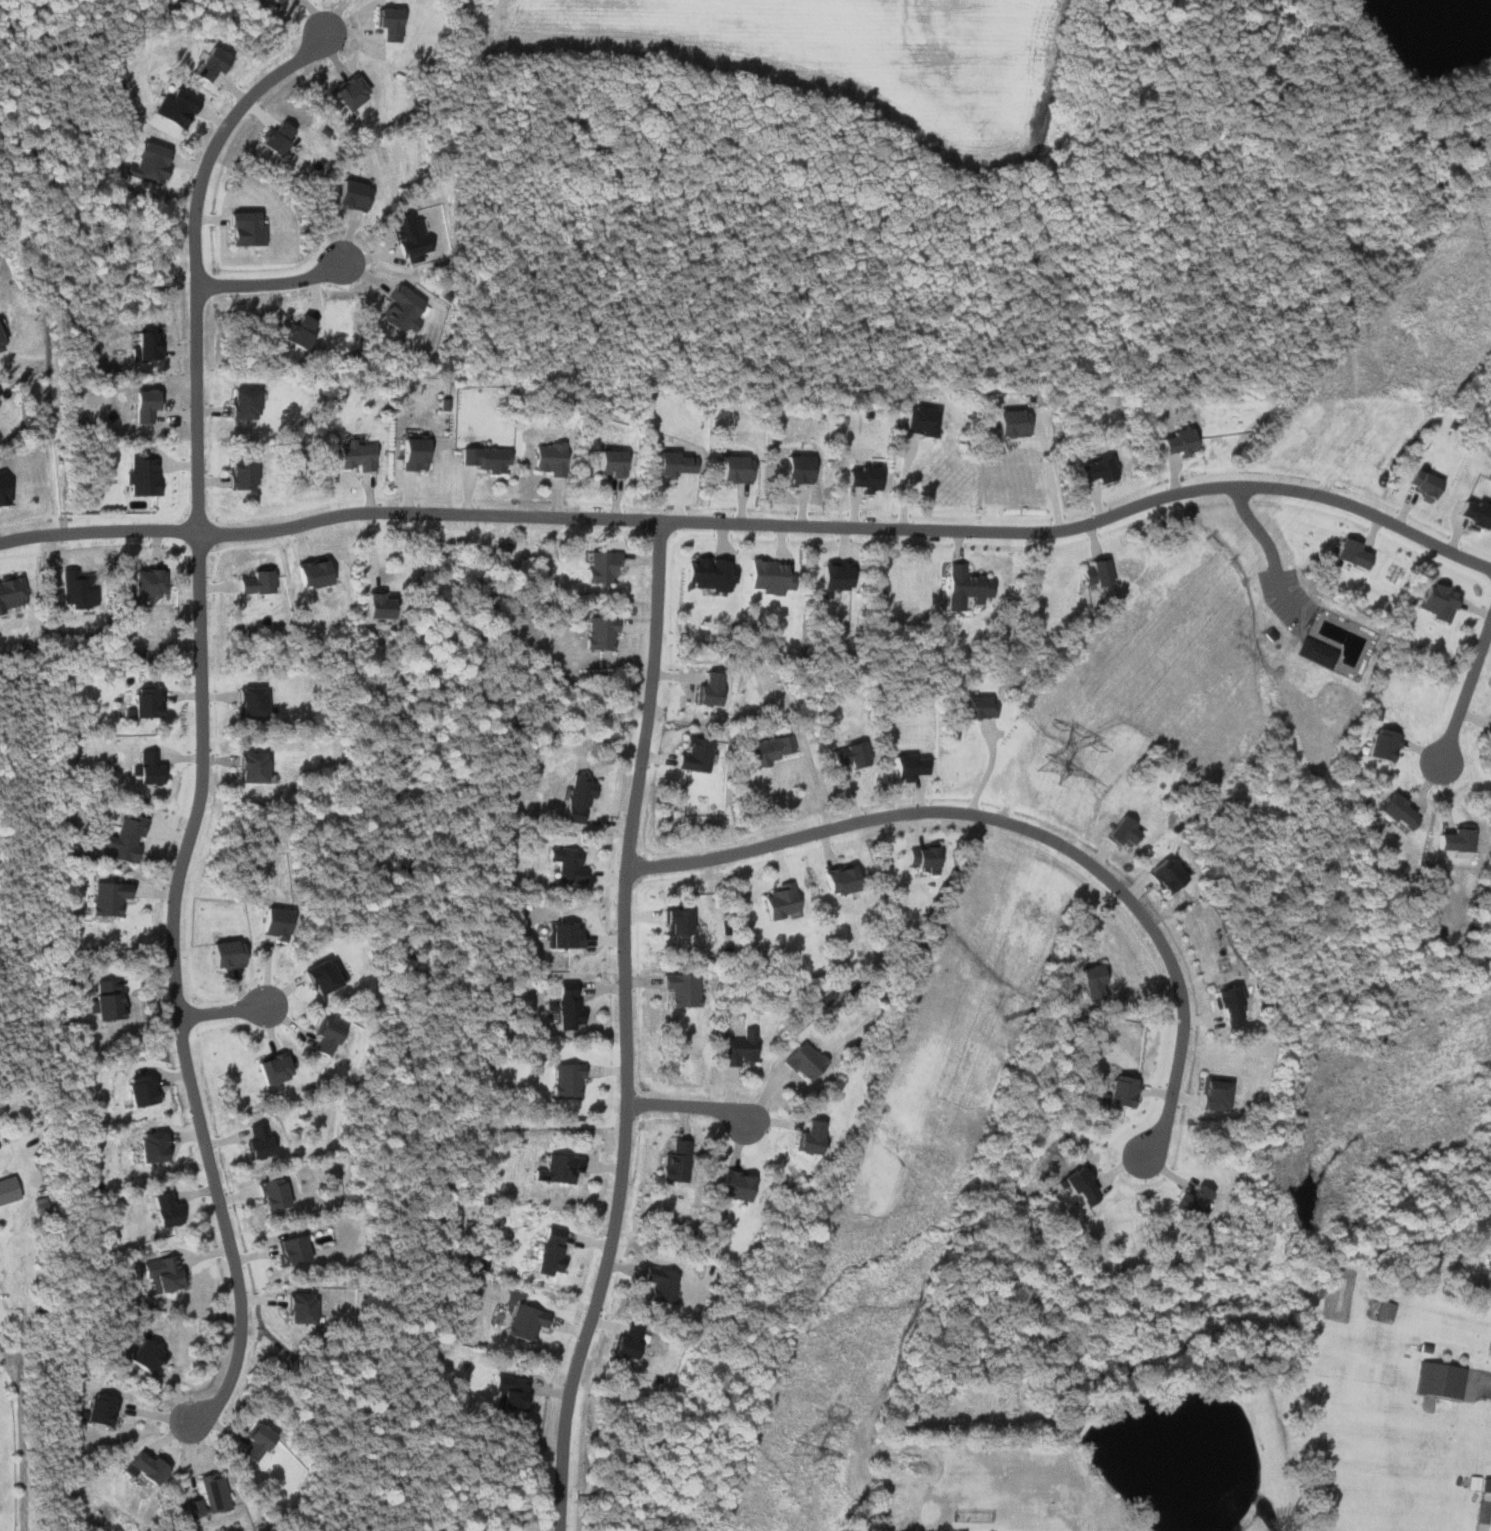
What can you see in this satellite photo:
building: (272, 3)
building: (383, 24)
building: (204, 64)
building: (346, 92)
building: (172, 108)
building: (272, 138)
building: (144, 164)
building: (349, 196)
building: (241, 230)
building: (407, 238)
road: (186, 262)
road: (259, 279)
building: (398, 310)
building: (0, 345)
building: (144, 345)
building: (241, 404)
building: (142, 405)
building: (917, 422)
building: (1009, 424)
building: (1176, 443)
building: (409, 455)
building: (355, 456)
building: (483, 459)
building: (549, 459)
building: (608, 464)
building: (671, 465)
building: (732, 470)
building: (795, 471)
building: (1094, 471)
building: (140, 475)
building: (236, 476)
road: (1051, 476)
building: (860, 479)
road: (905, 481)
building: (1423, 486)
building: (3, 491)
building: (1469, 515)
road: (755, 523)
road: (1266, 541)
building: (1346, 554)
building: (598, 568)
building: (708, 574)
building: (310, 575)
building: (1091, 575)
building: (765, 577)
building: (830, 579)
building: (252, 583)
building: (144, 584)
building: (73, 589)
building: (963, 589)
building: (9, 593)
building: (1434, 602)
building: (370, 605)
building: (597, 634)
building: (1314, 654)
building: (706, 689)
road: (1466, 691)
building: (142, 702)
building: (249, 702)
building: (976, 706)
building: (1487, 726)
building: (1380, 744)
building: (765, 749)
building: (844, 754)
building: (693, 755)
building: (903, 766)
building: (249, 767)
building: (143, 768)
road: (987, 772)
power tower: (1049, 773)
building: (576, 798)
building: (1394, 811)
road: (1013, 824)
building: (1119, 831)
building: (122, 838)
building: (1452, 841)
building: (919, 856)
building: (566, 865)
building: (1161, 873)
building: (837, 879)
building: (106, 898)
building: (779, 900)
building: (671, 920)
building: (270, 921)
building: (562, 935)
building: (223, 953)
building: (314, 976)
building: (1088, 980)
road: (175, 987)
building: (679, 988)
building: (103, 1000)
building: (566, 1004)
building: (1227, 1004)
road: (221, 1011)
road: (624, 1028)
building: (323, 1036)
building: (737, 1048)
building: (802, 1061)
building: (269, 1067)
building: (564, 1080)
building: (139, 1090)
building: (1118, 1091)
building: (1210, 1094)
road: (687, 1108)
building: (807, 1138)
building: (256, 1142)
building: (150, 1147)
building: (672, 1162)
building: (556, 1169)
building: (729, 1184)
building: (1078, 1185)
building: (6, 1189)
building: (268, 1193)
building: (1189, 1202)
building: (161, 1211)
building: (287, 1250)
building: (549, 1250)
building: (161, 1273)
building: (657, 1284)
building: (295, 1308)
building: (1383, 1310)
building: (522, 1322)
building: (625, 1343)
building: (140, 1355)
building: (1438, 1380)
building: (509, 1393)
building: (96, 1410)
road: (22, 1438)
building: (252, 1441)
power tower: (802, 1454)
building: (143, 1468)
building: (1481, 1496)
building: (206, 1497)

